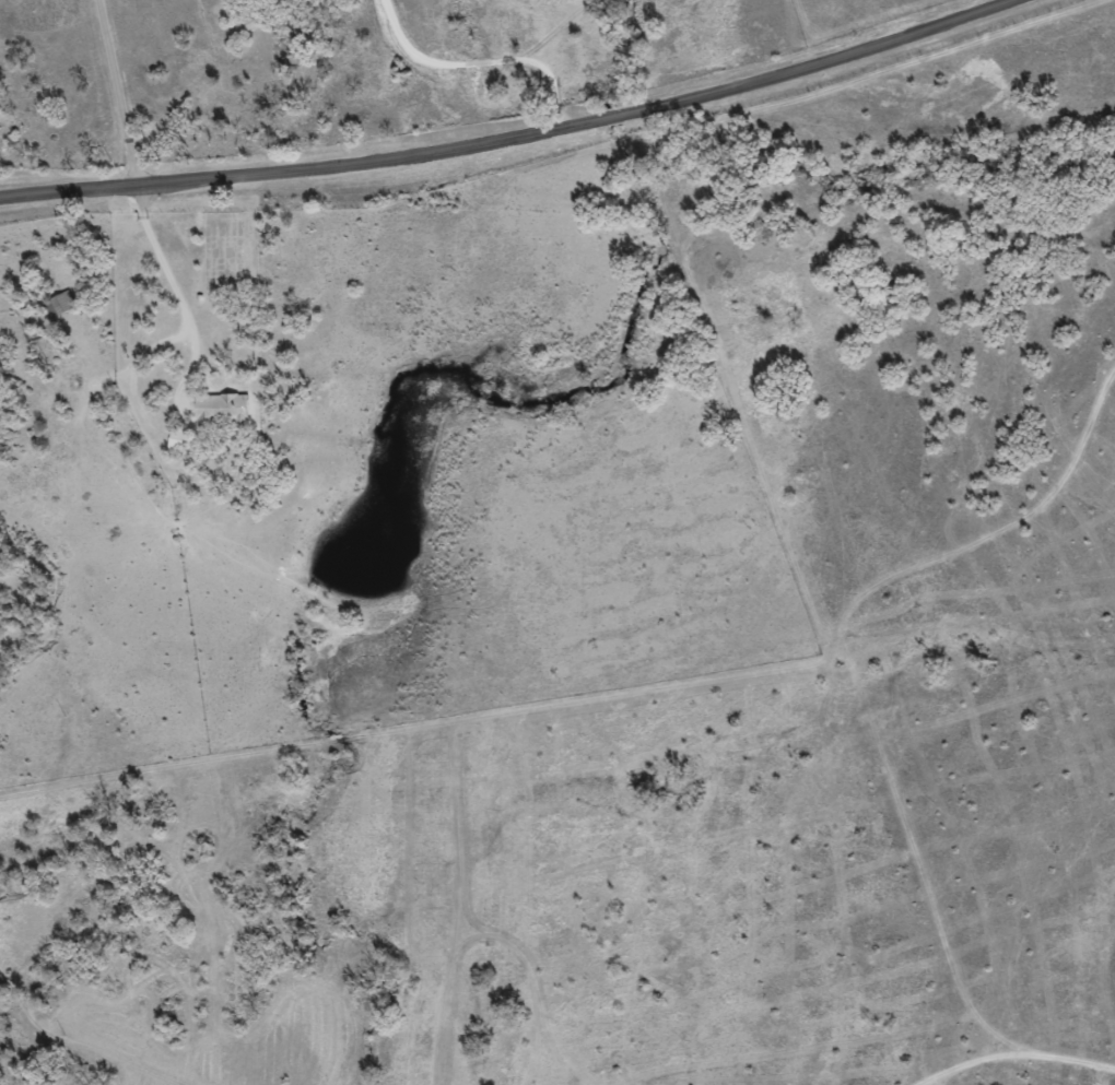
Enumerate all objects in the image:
road: (115, 92)
road: (510, 138)
building: (56, 305)
building: (219, 410)

